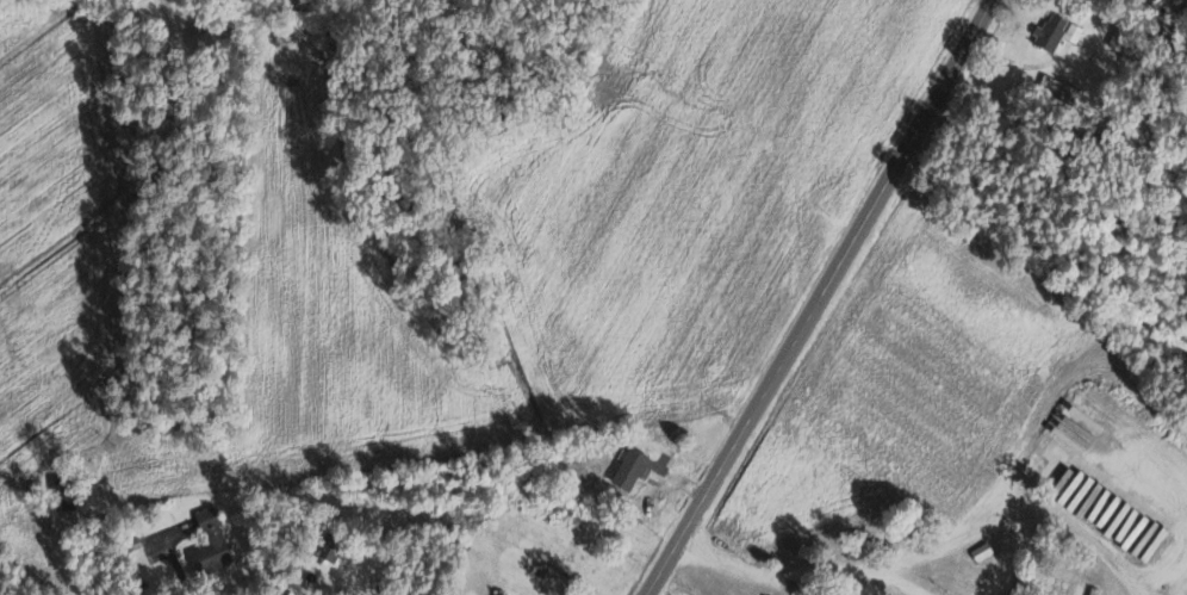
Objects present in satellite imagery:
building: (1059, 31)
building: (1127, 41)
building: (1062, 89)
road: (821, 297)
building: (635, 469)
building: (72, 494)
building: (215, 545)
building: (338, 550)
building: (986, 551)
road: (922, 554)
road: (211, 588)

